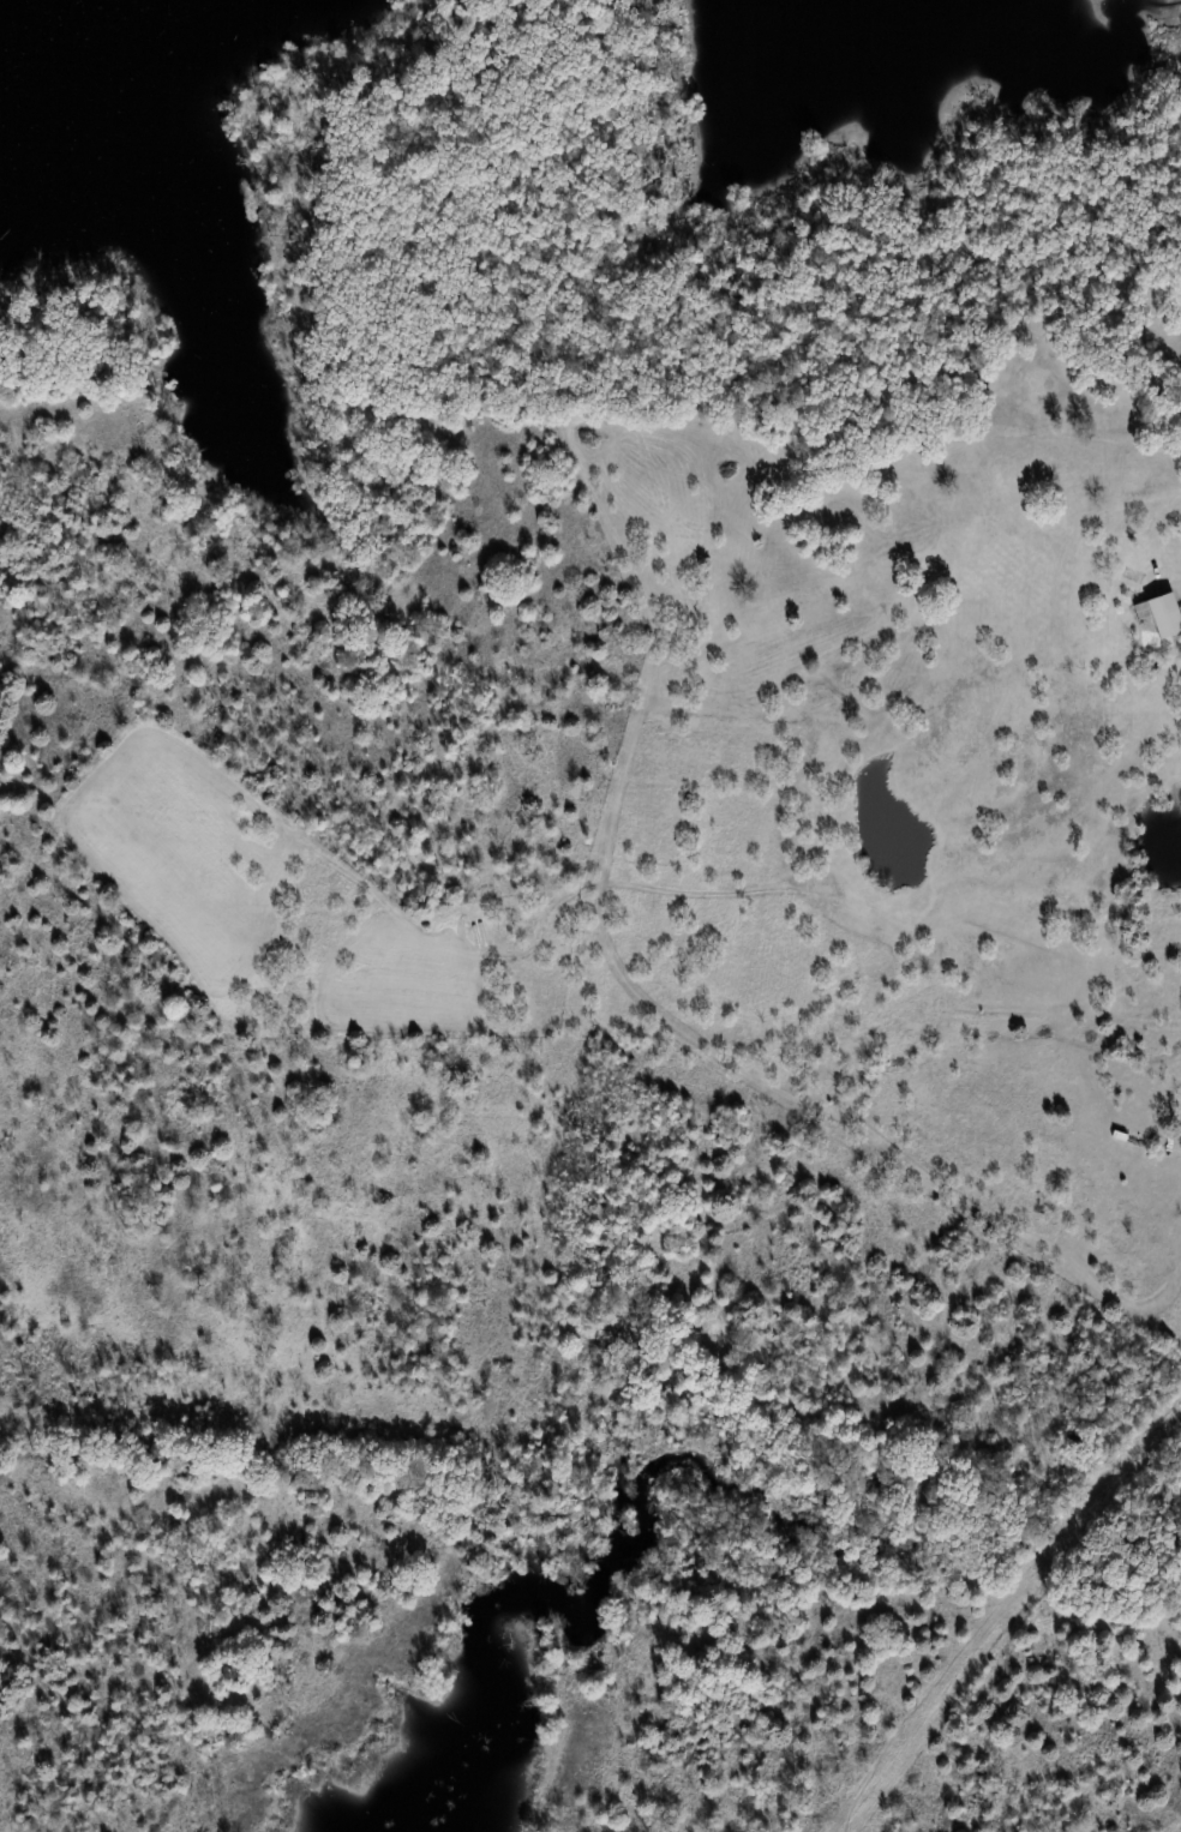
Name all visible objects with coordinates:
building: (1162, 617)

